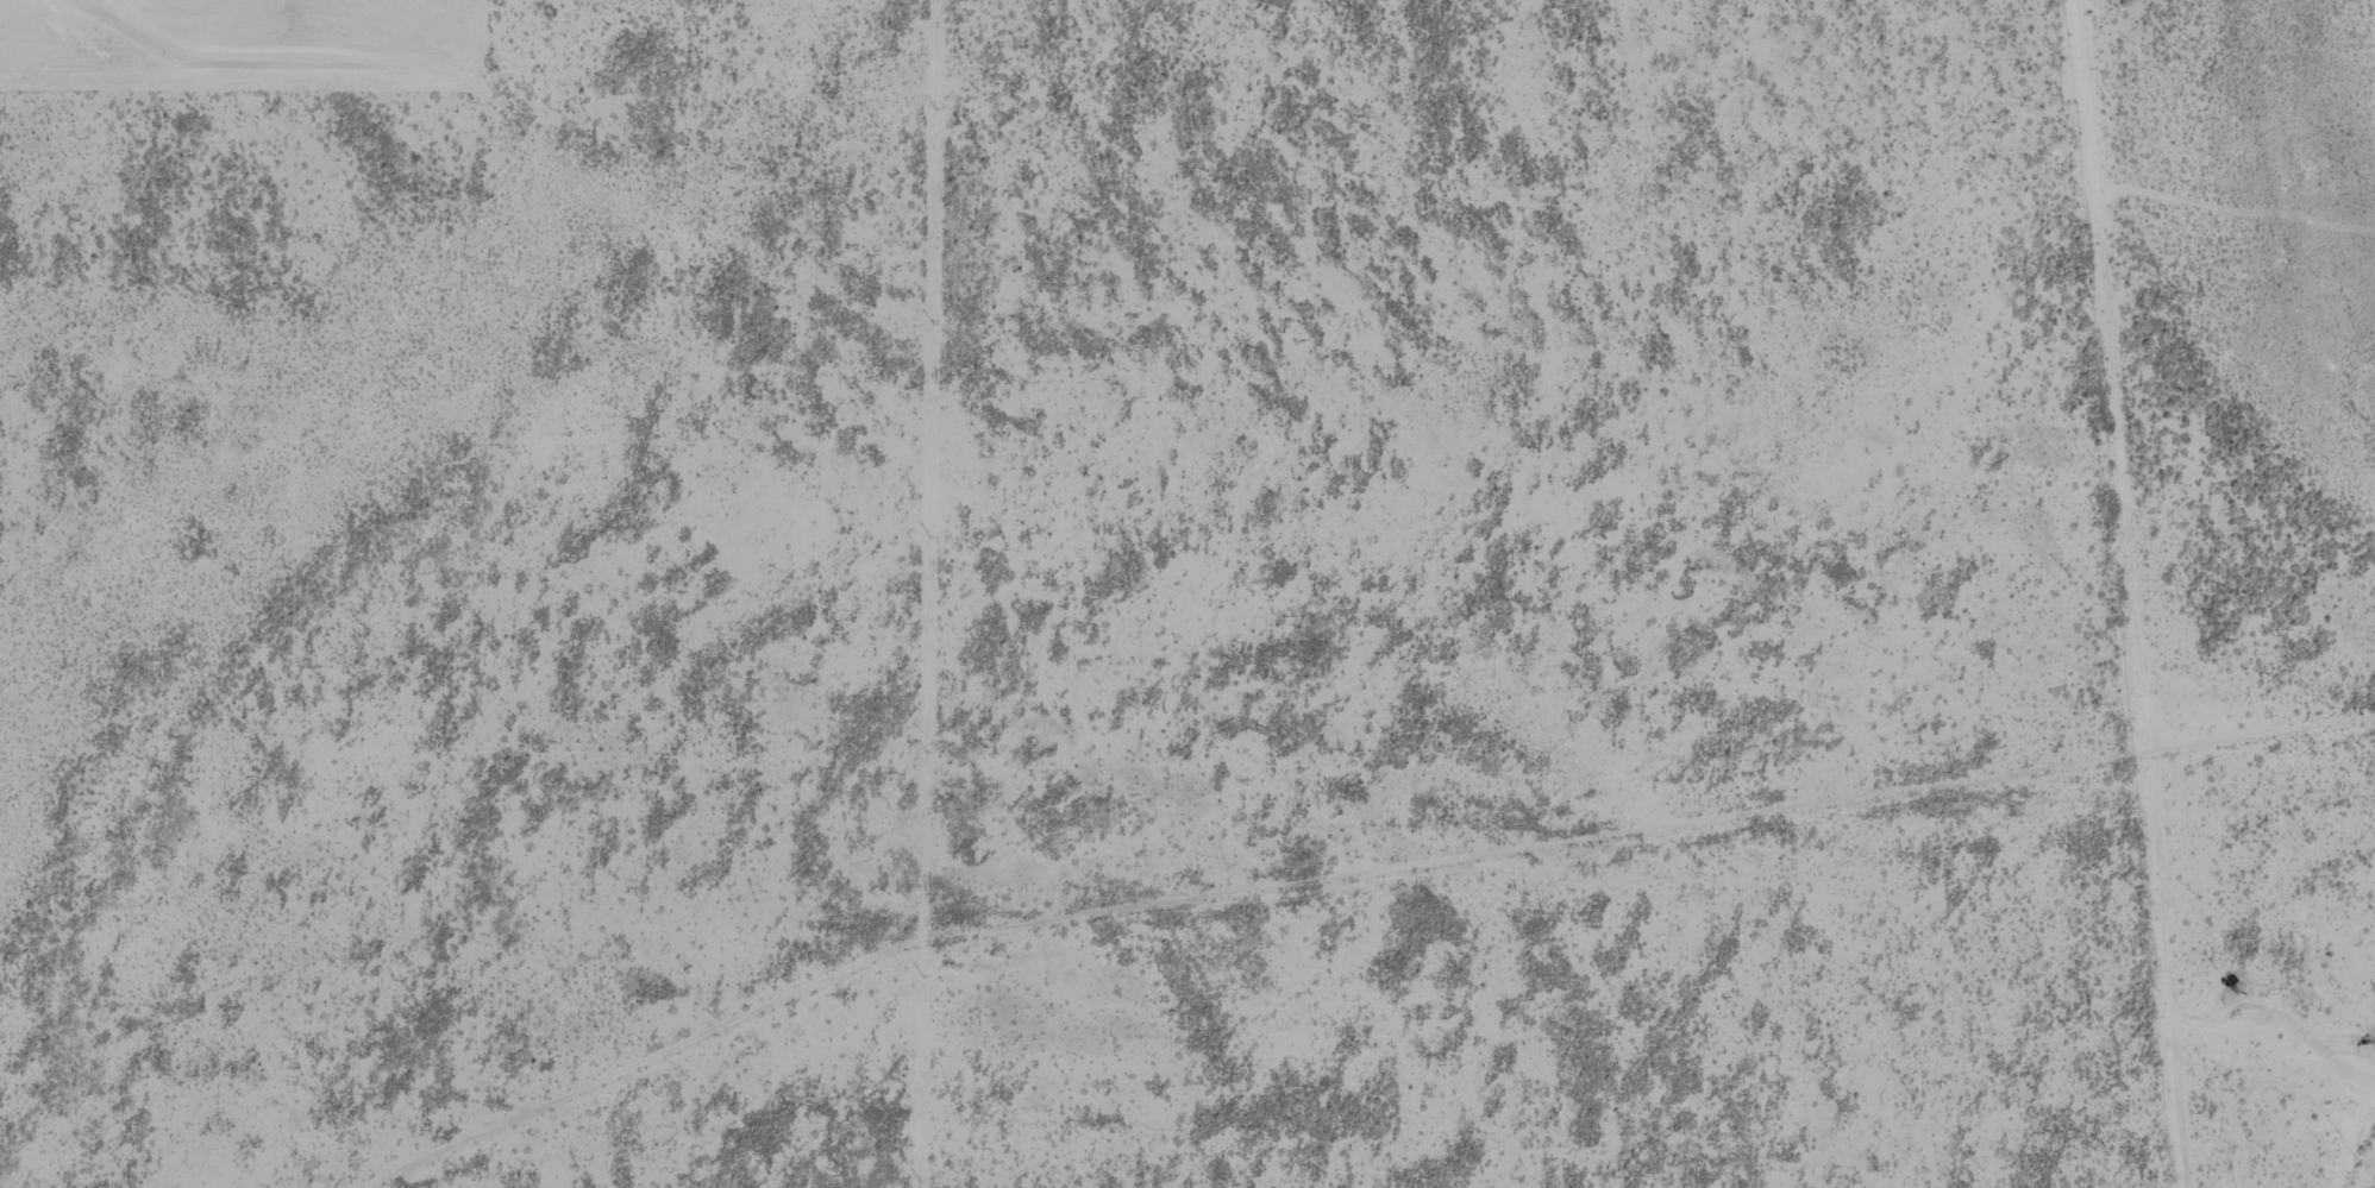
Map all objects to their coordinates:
road: (2100, 595)
road: (2335, 1138)

